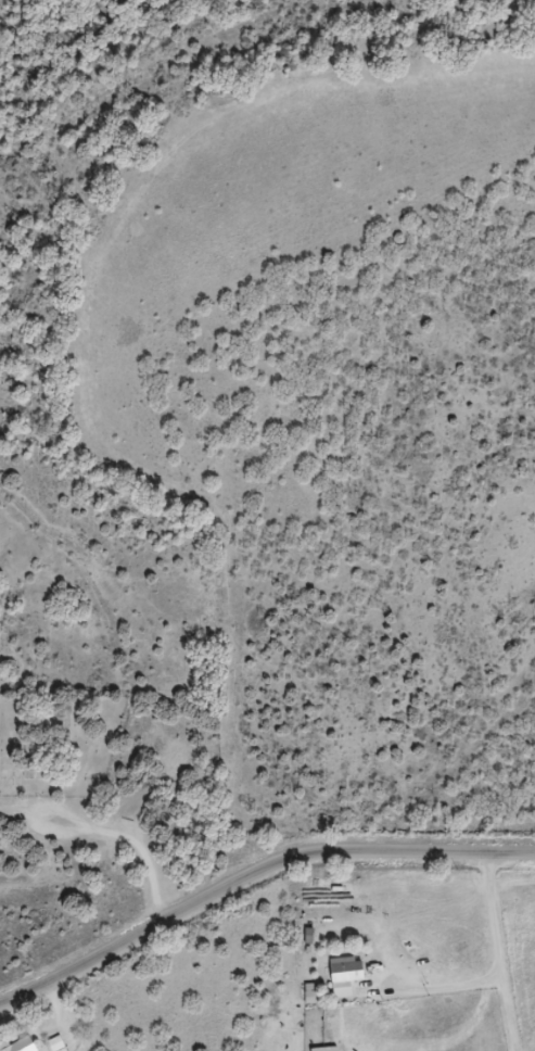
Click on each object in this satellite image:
park: (56, 743)
road: (258, 869)
building: (347, 972)
building: (58, 1043)
building: (21, 1044)
building: (324, 1049)

